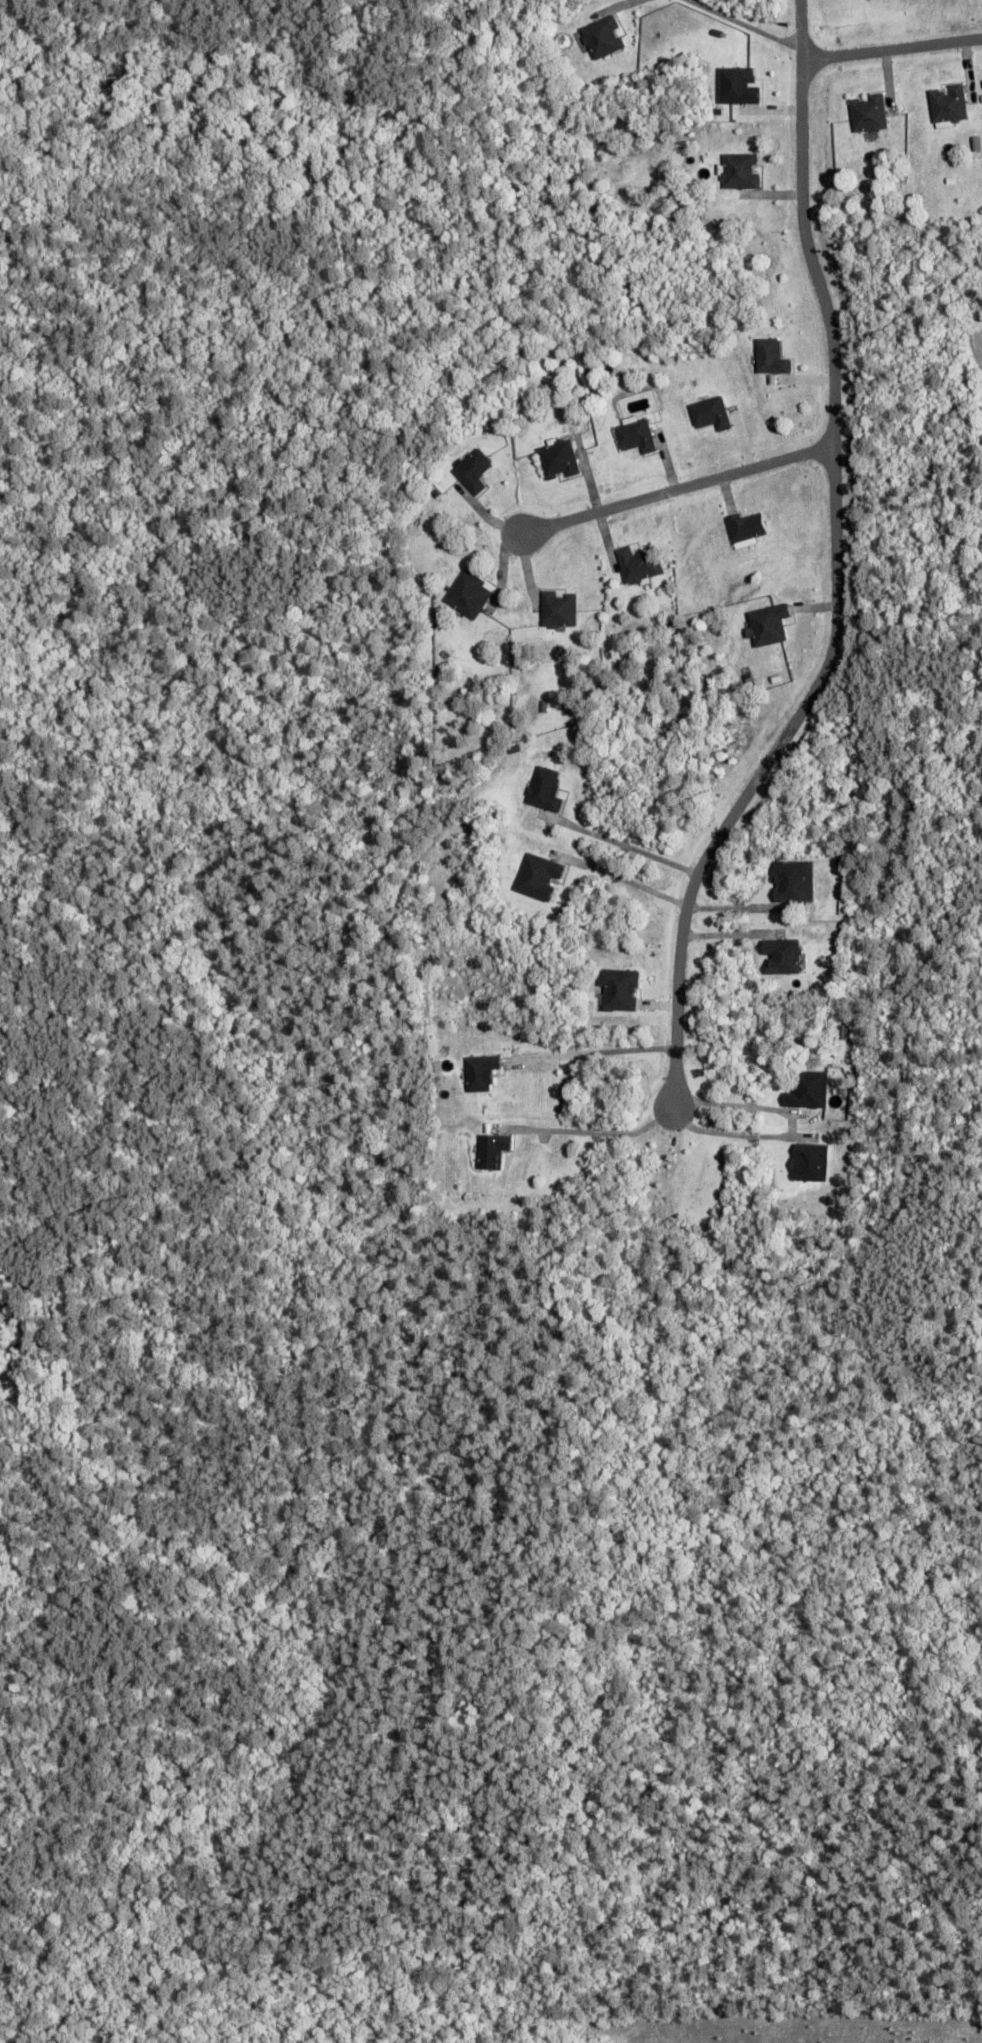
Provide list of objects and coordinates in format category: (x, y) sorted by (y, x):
building: (600, 36)
road: (890, 48)
building: (736, 85)
building: (947, 103)
building: (867, 113)
building: (738, 170)
building: (770, 357)
building: (709, 413)
building: (556, 458)
building: (471, 470)
road: (675, 490)
building: (744, 529)
building: (637, 564)
road: (833, 570)
building: (466, 594)
building: (556, 609)
building: (767, 624)
building: (536, 705)
building: (544, 789)
building: (537, 877)
building: (792, 881)
building: (781, 956)
building: (618, 989)
building: (480, 1071)
building: (807, 1089)
building: (490, 1149)
building: (809, 1161)
building: (837, 1205)

